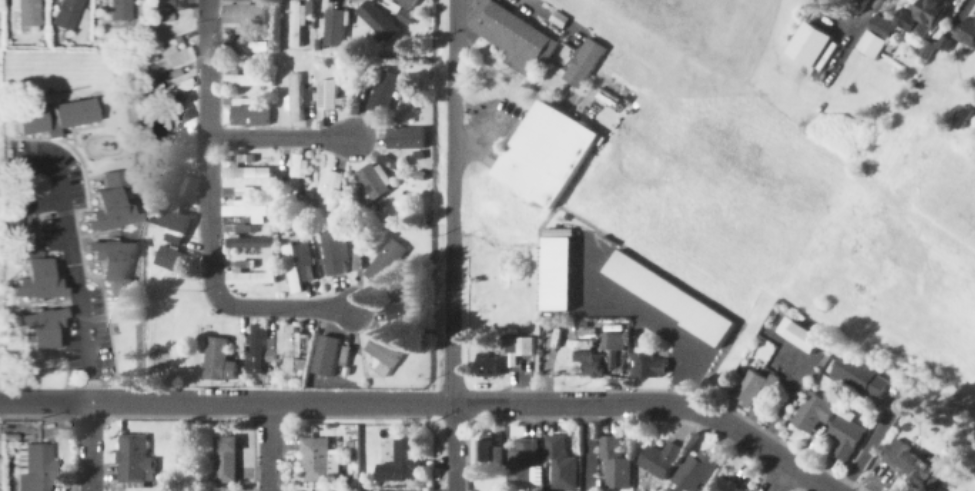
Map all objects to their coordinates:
building: (409, 2)
building: (188, 3)
building: (117, 12)
building: (243, 12)
building: (64, 13)
building: (26, 14)
road: (549, 18)
building: (920, 18)
building: (379, 20)
building: (299, 23)
building: (335, 27)
building: (967, 31)
building: (515, 35)
building: (875, 37)
building: (946, 41)
building: (816, 44)
building: (247, 47)
building: (169, 54)
building: (584, 64)
building: (247, 80)
building: (170, 89)
building: (383, 93)
building: (327, 95)
building: (296, 98)
building: (248, 100)
building: (176, 110)
building: (250, 114)
building: (54, 117)
building: (165, 124)
road: (279, 139)
building: (405, 139)
road: (490, 150)
building: (547, 156)
building: (247, 173)
building: (296, 179)
building: (171, 182)
building: (372, 185)
building: (245, 192)
building: (329, 193)
building: (105, 209)
building: (244, 210)
road: (207, 217)
building: (173, 220)
building: (245, 229)
building: (251, 243)
road: (451, 245)
building: (335, 252)
building: (173, 260)
building: (109, 262)
building: (299, 262)
building: (386, 262)
building: (37, 270)
building: (556, 275)
building: (251, 278)
road: (70, 288)
building: (668, 298)
building: (402, 313)
road: (647, 313)
building: (34, 322)
building: (798, 335)
building: (520, 345)
building: (260, 349)
building: (294, 350)
building: (598, 353)
building: (326, 355)
building: (382, 356)
building: (218, 360)
building: (481, 361)
building: (650, 364)
building: (860, 376)
building: (754, 386)
road: (1, 401)
road: (316, 404)
building: (813, 412)
road: (735, 431)
building: (844, 436)
road: (89, 447)
road: (269, 447)
road: (587, 448)
road: (865, 448)
building: (490, 452)
building: (224, 460)
building: (315, 460)
building: (524, 460)
building: (659, 460)
building: (133, 462)
building: (614, 463)
building: (400, 464)
building: (560, 464)
building: (911, 465)
building: (34, 467)
building: (694, 471)
road: (779, 478)
building: (727, 484)

